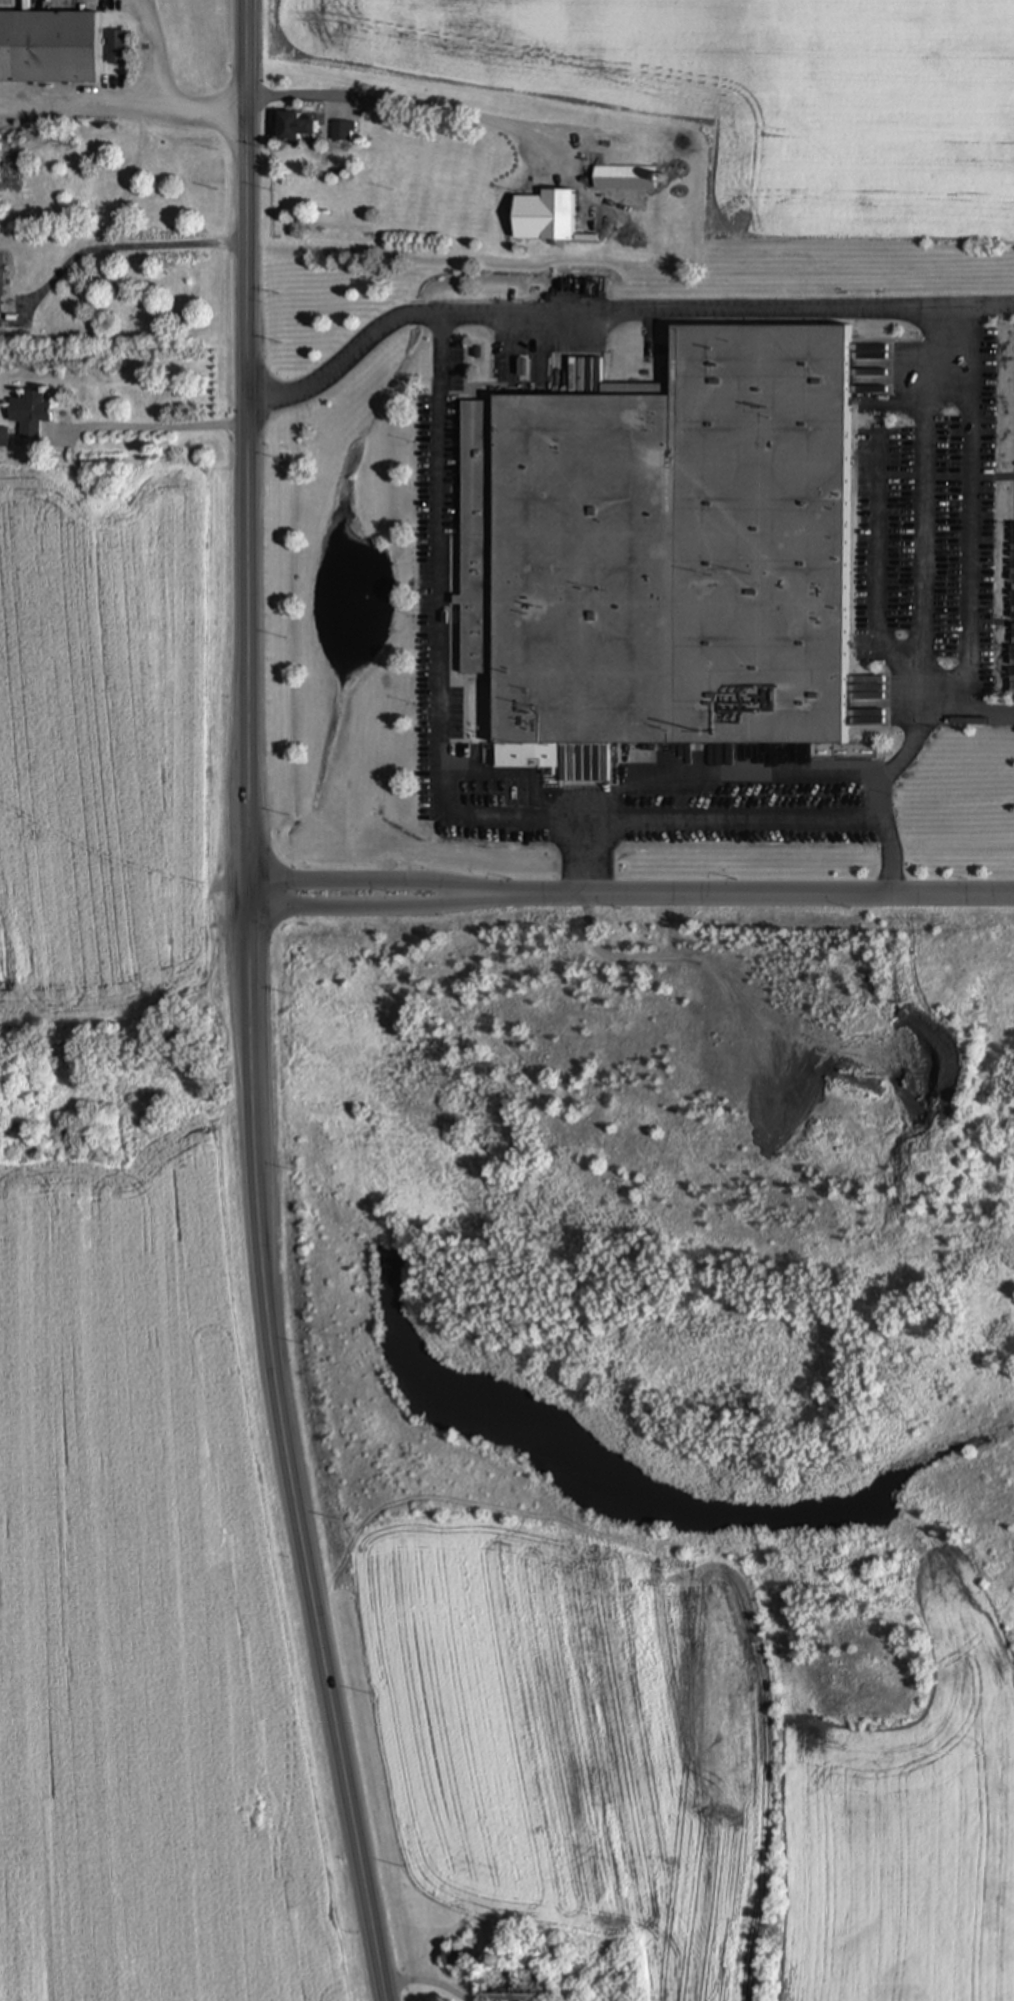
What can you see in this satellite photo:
building: (48, 48)
building: (116, 48)
road: (154, 50)
road: (80, 100)
road: (206, 111)
building: (293, 128)
building: (342, 132)
building: (623, 179)
building: (556, 216)
road: (127, 247)
building: (0, 283)
road: (728, 309)
road: (350, 358)
building: (28, 414)
road: (158, 428)
building: (4, 438)
road: (919, 486)
road: (968, 518)
building: (663, 552)
road: (880, 589)
road: (516, 821)
road: (577, 858)
road: (362, 882)
road: (743, 896)
road: (362, 909)
road: (250, 1005)
crop: (582, 1764)
road: (427, 1982)
building: (509, 1987)

